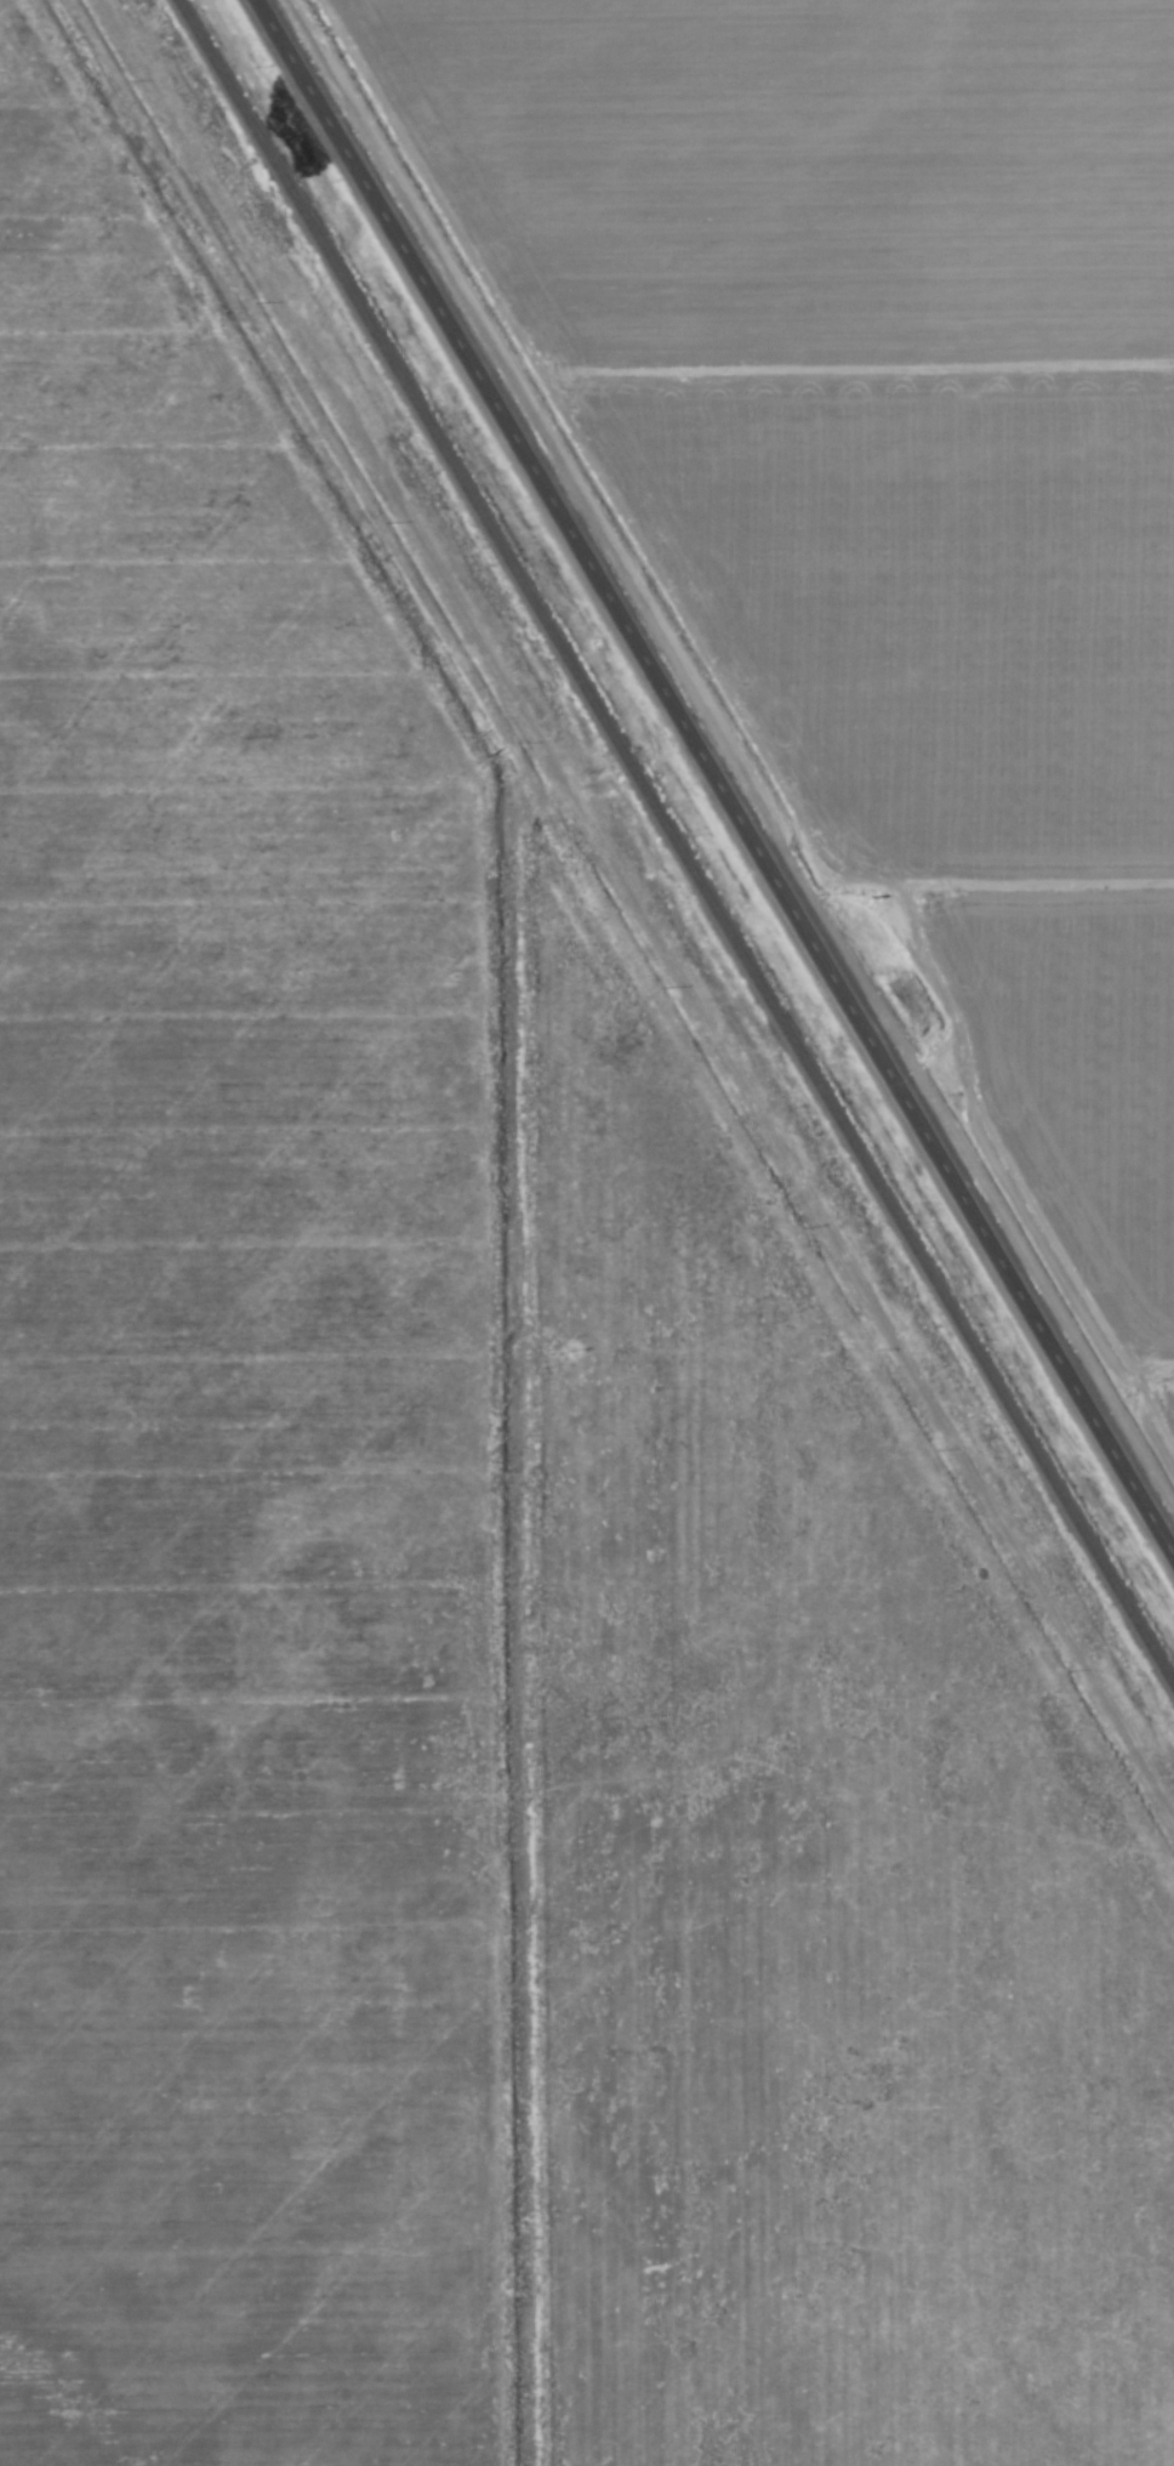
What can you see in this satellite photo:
road: (717, 772)
railway: (674, 845)
road: (975, 862)
road: (636, 899)
crop: (507, 1431)
park: (455, 1593)

